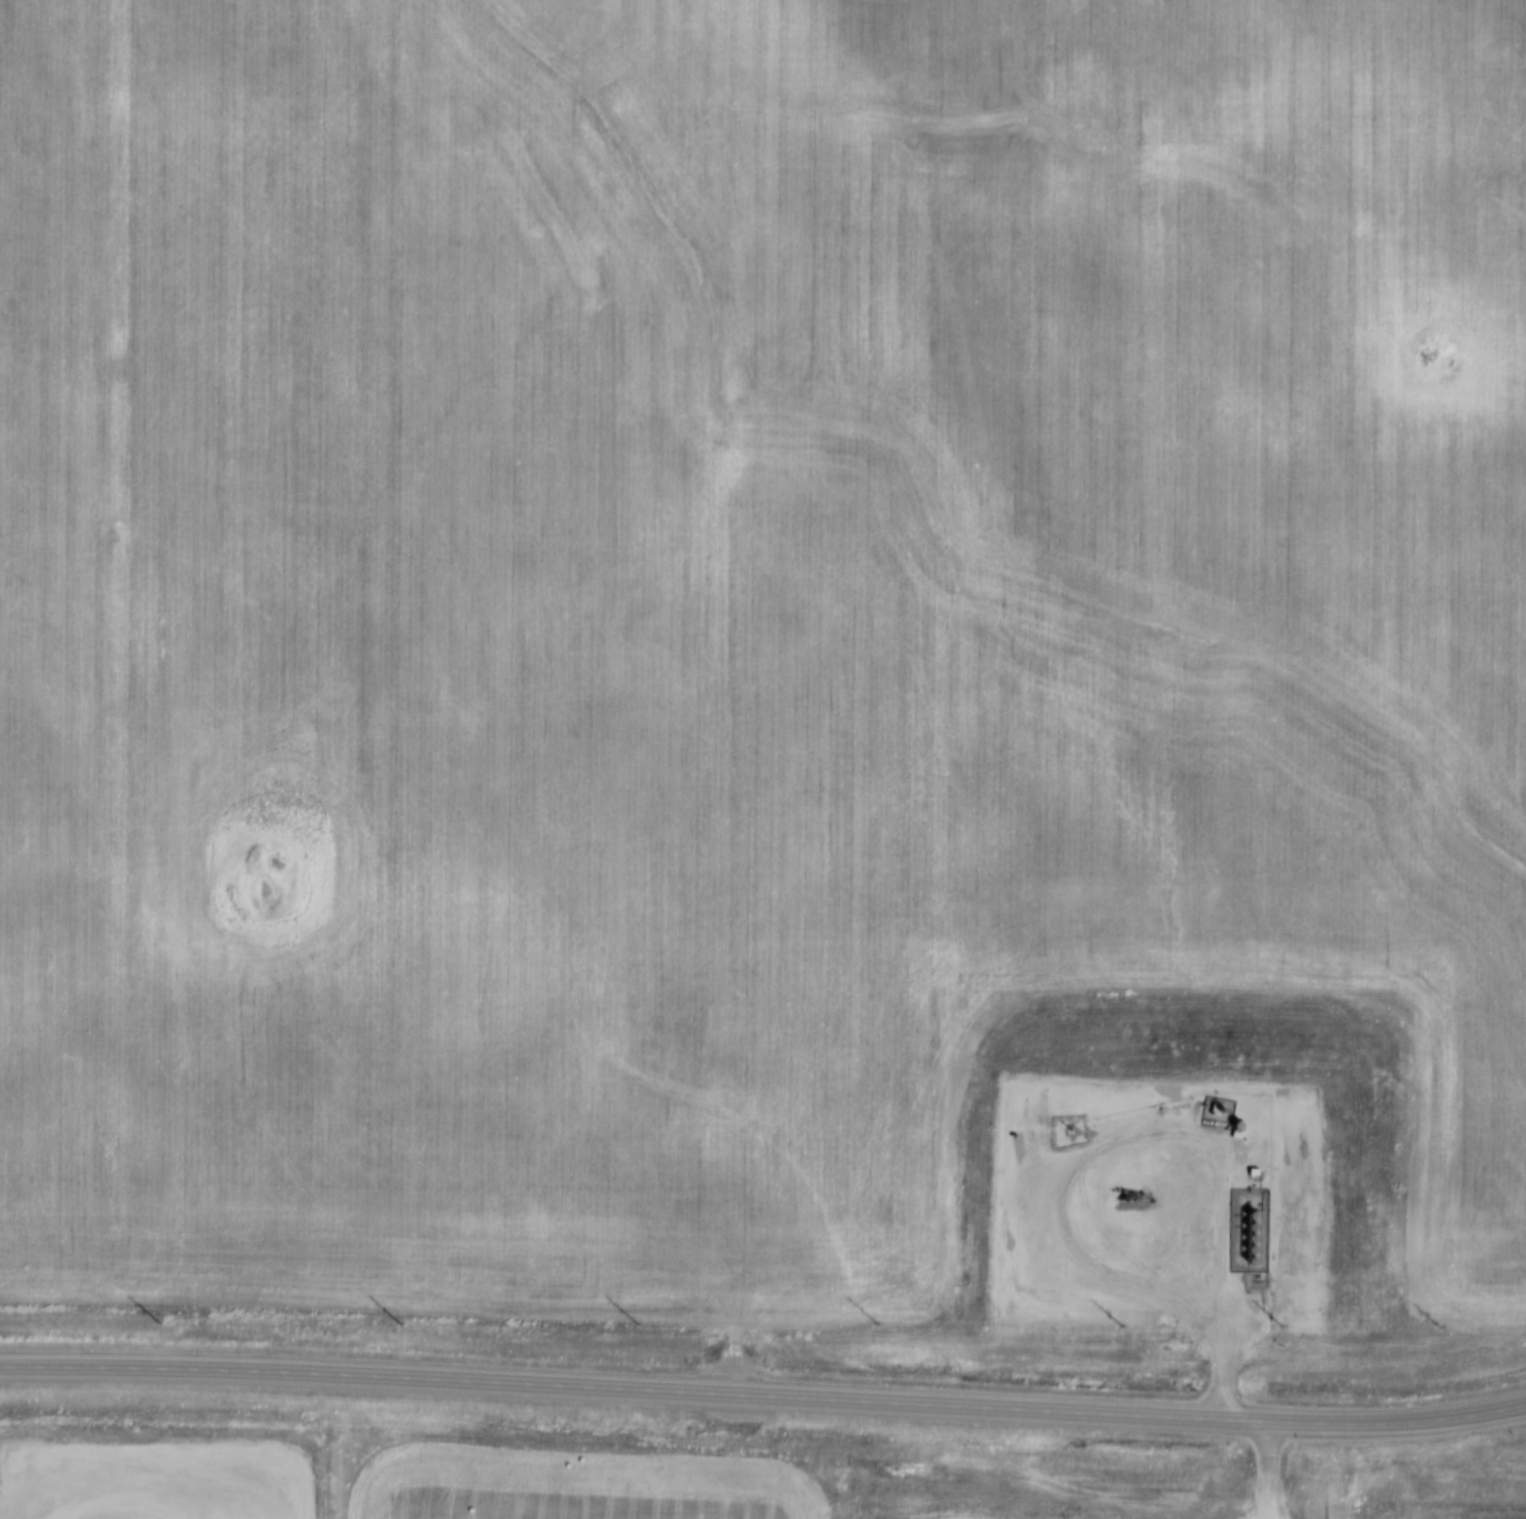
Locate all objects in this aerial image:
building: (1214, 1109)
road: (1124, 1142)
building: (1249, 1172)
petroleum well: (1128, 1196)
building: (1007, 1210)
building: (1457, 1378)
road: (763, 1404)
road: (1265, 1469)
road: (117, 1494)

